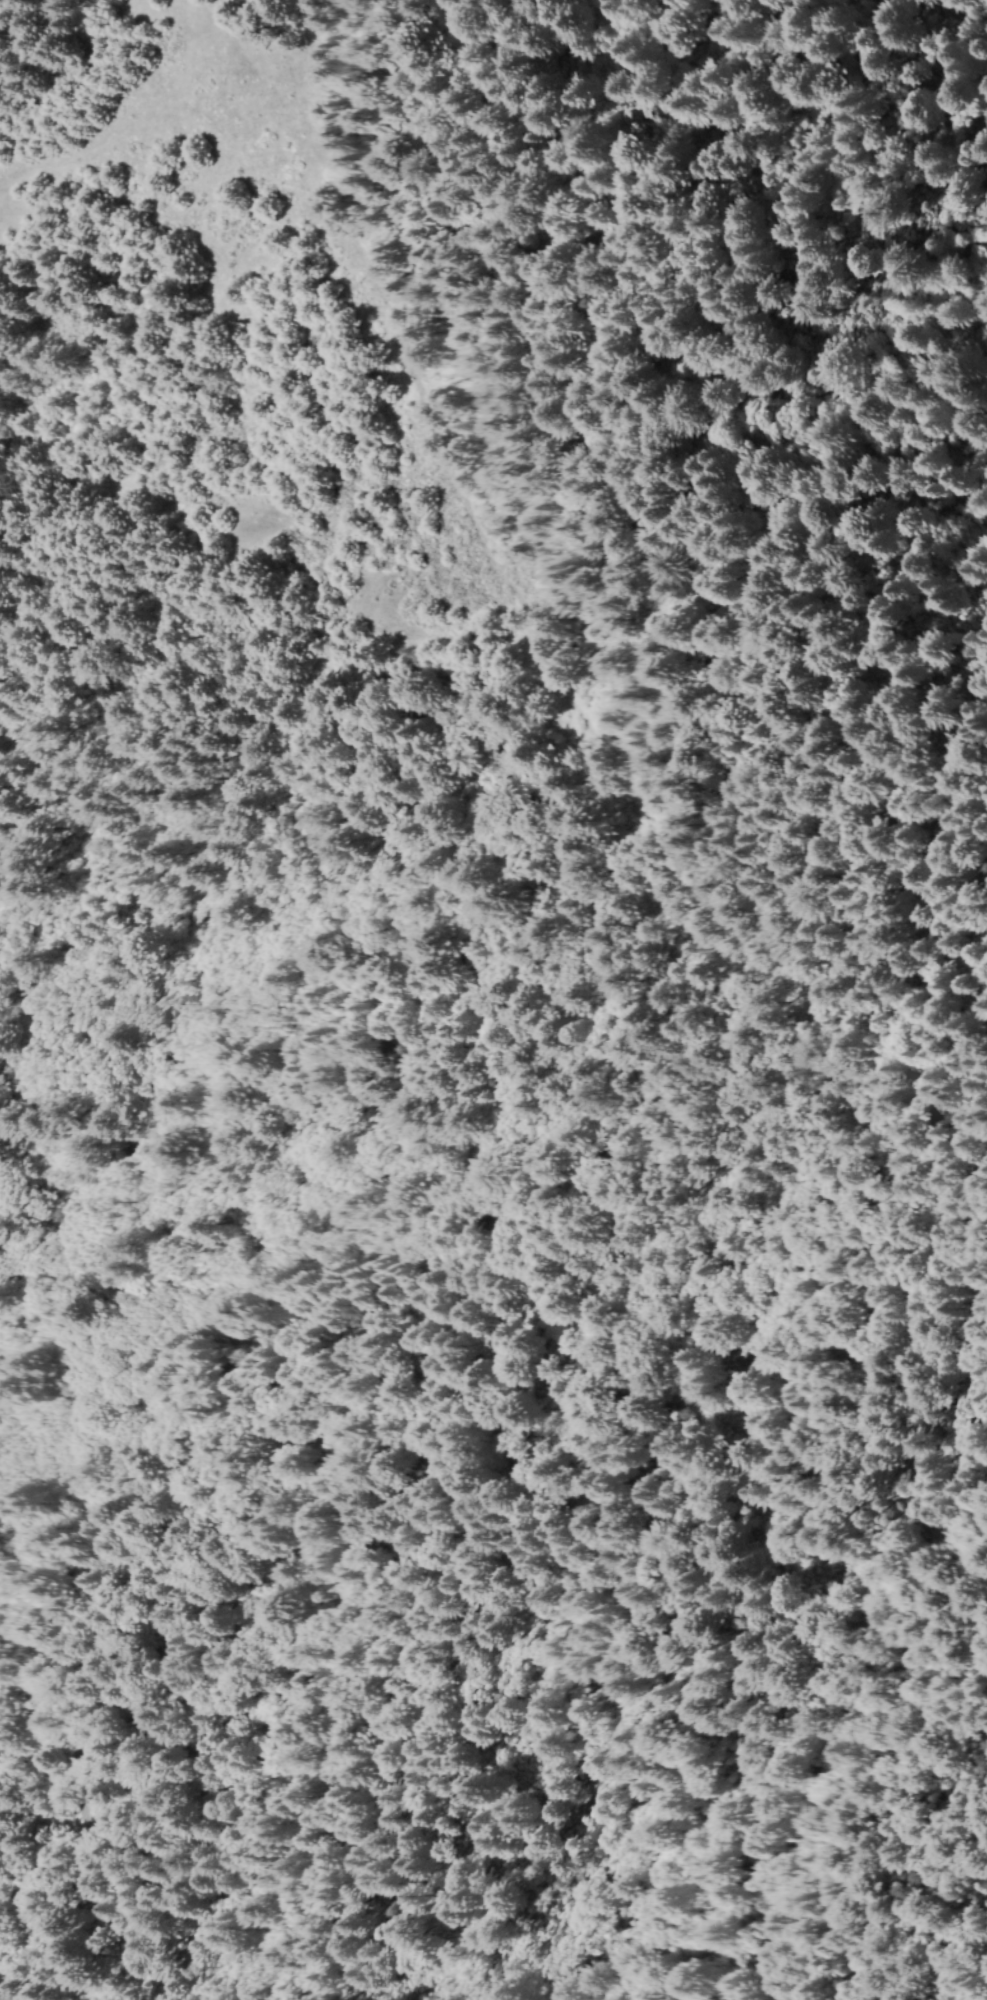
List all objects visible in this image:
road: (155, 125)
road: (486, 540)
road: (524, 545)
road: (937, 940)
road: (424, 1473)

